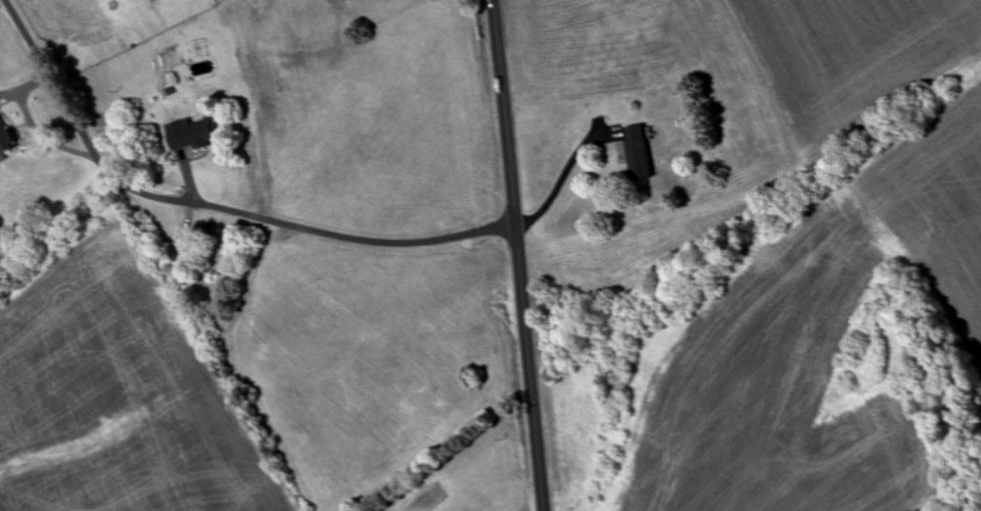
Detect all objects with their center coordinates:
building: (190, 134)
building: (6, 137)
building: (640, 153)
road: (208, 208)
road: (517, 255)

